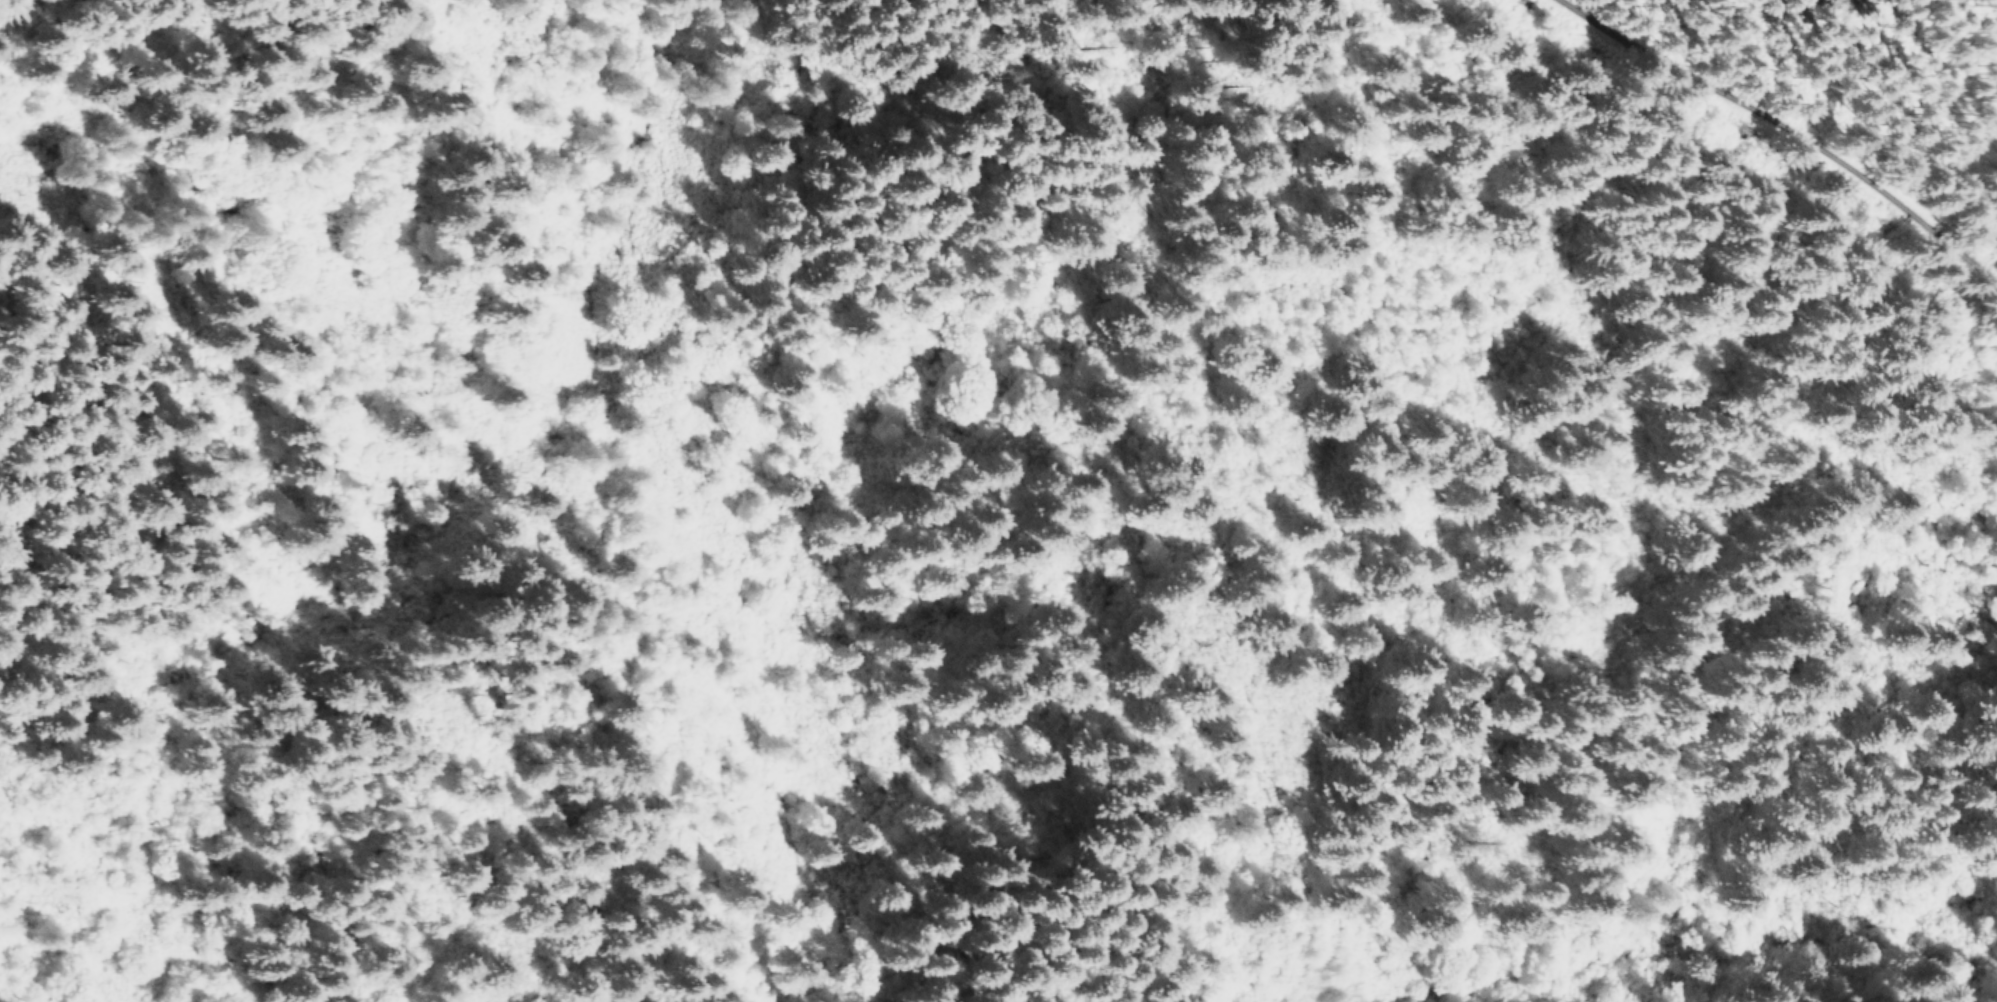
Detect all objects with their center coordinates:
road: (1869, 80)

